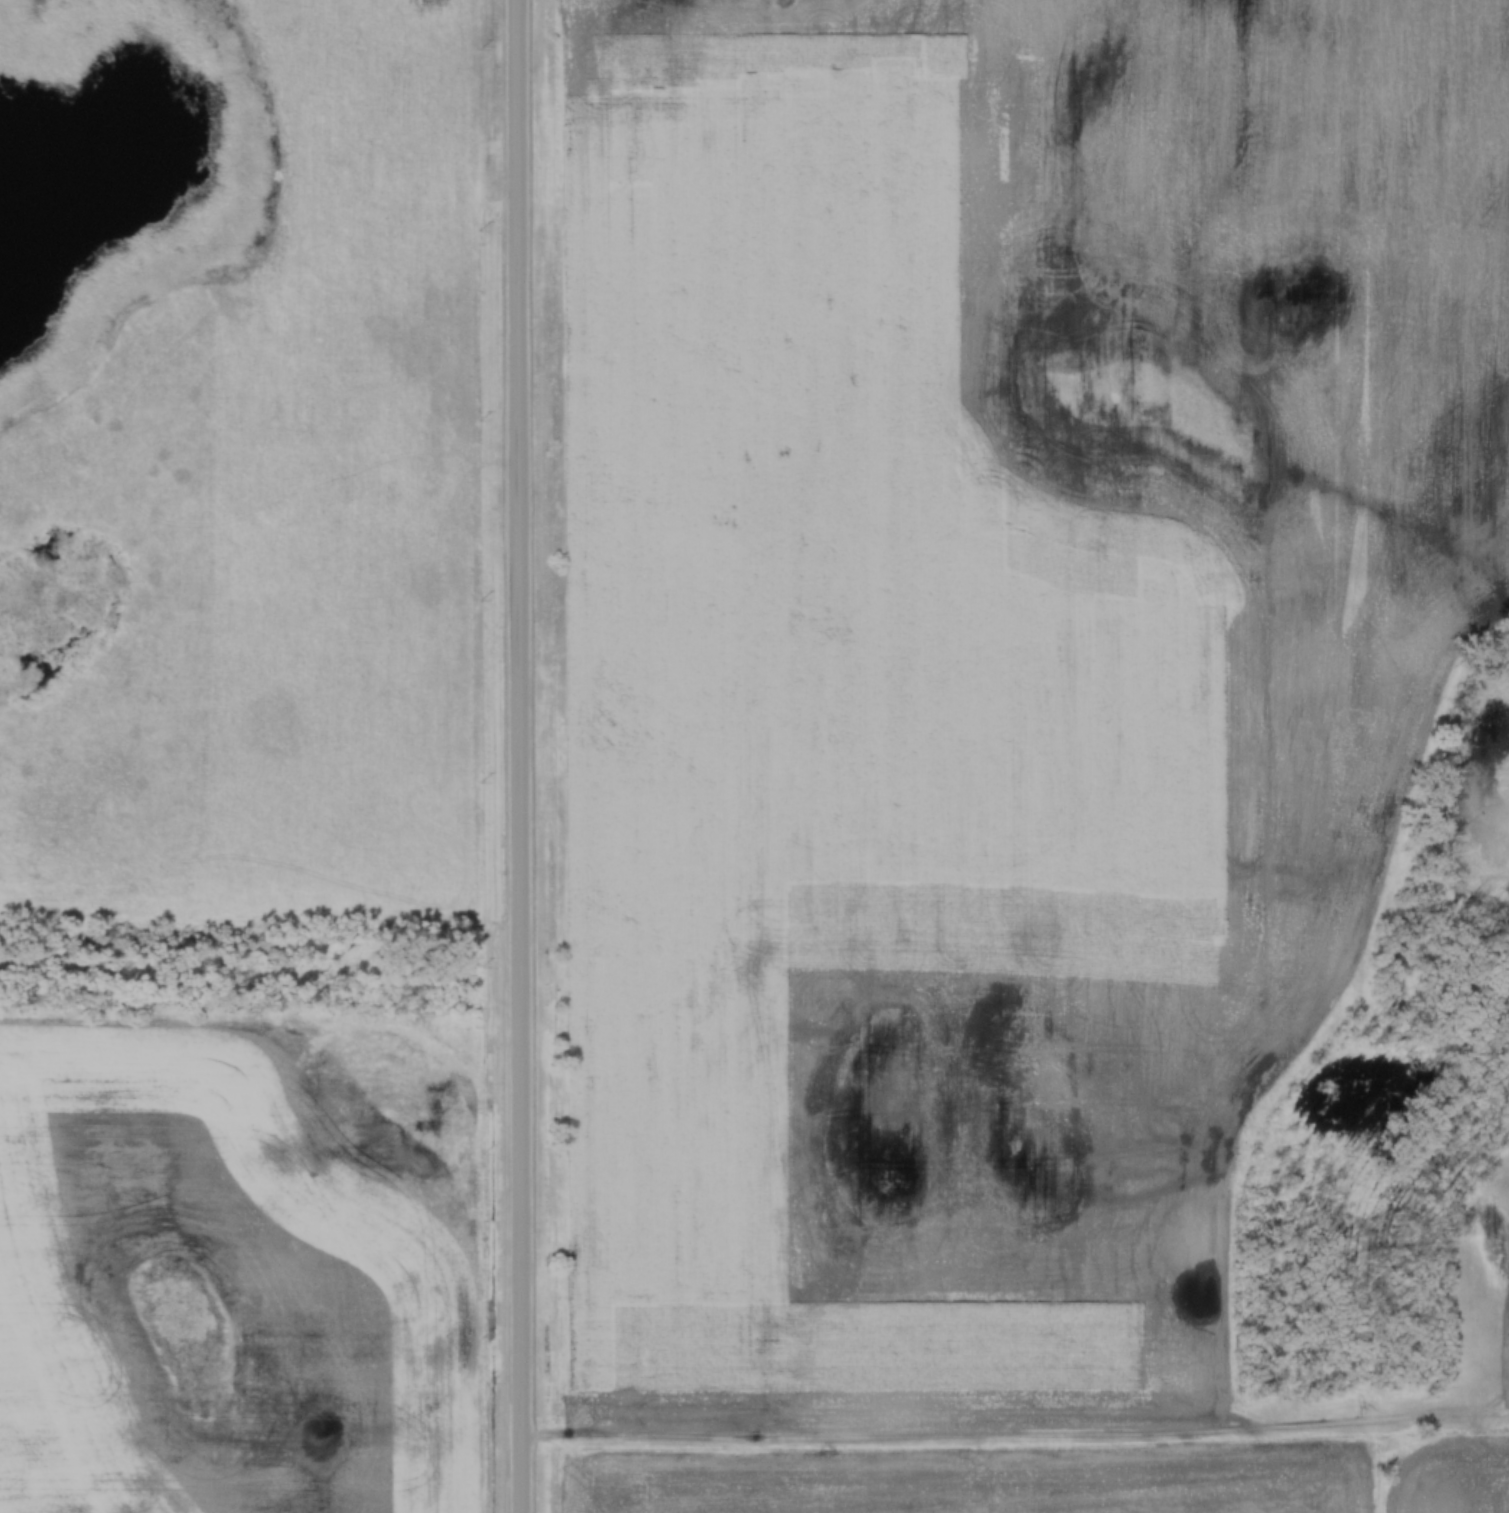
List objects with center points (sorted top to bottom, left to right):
road: (521, 756)

